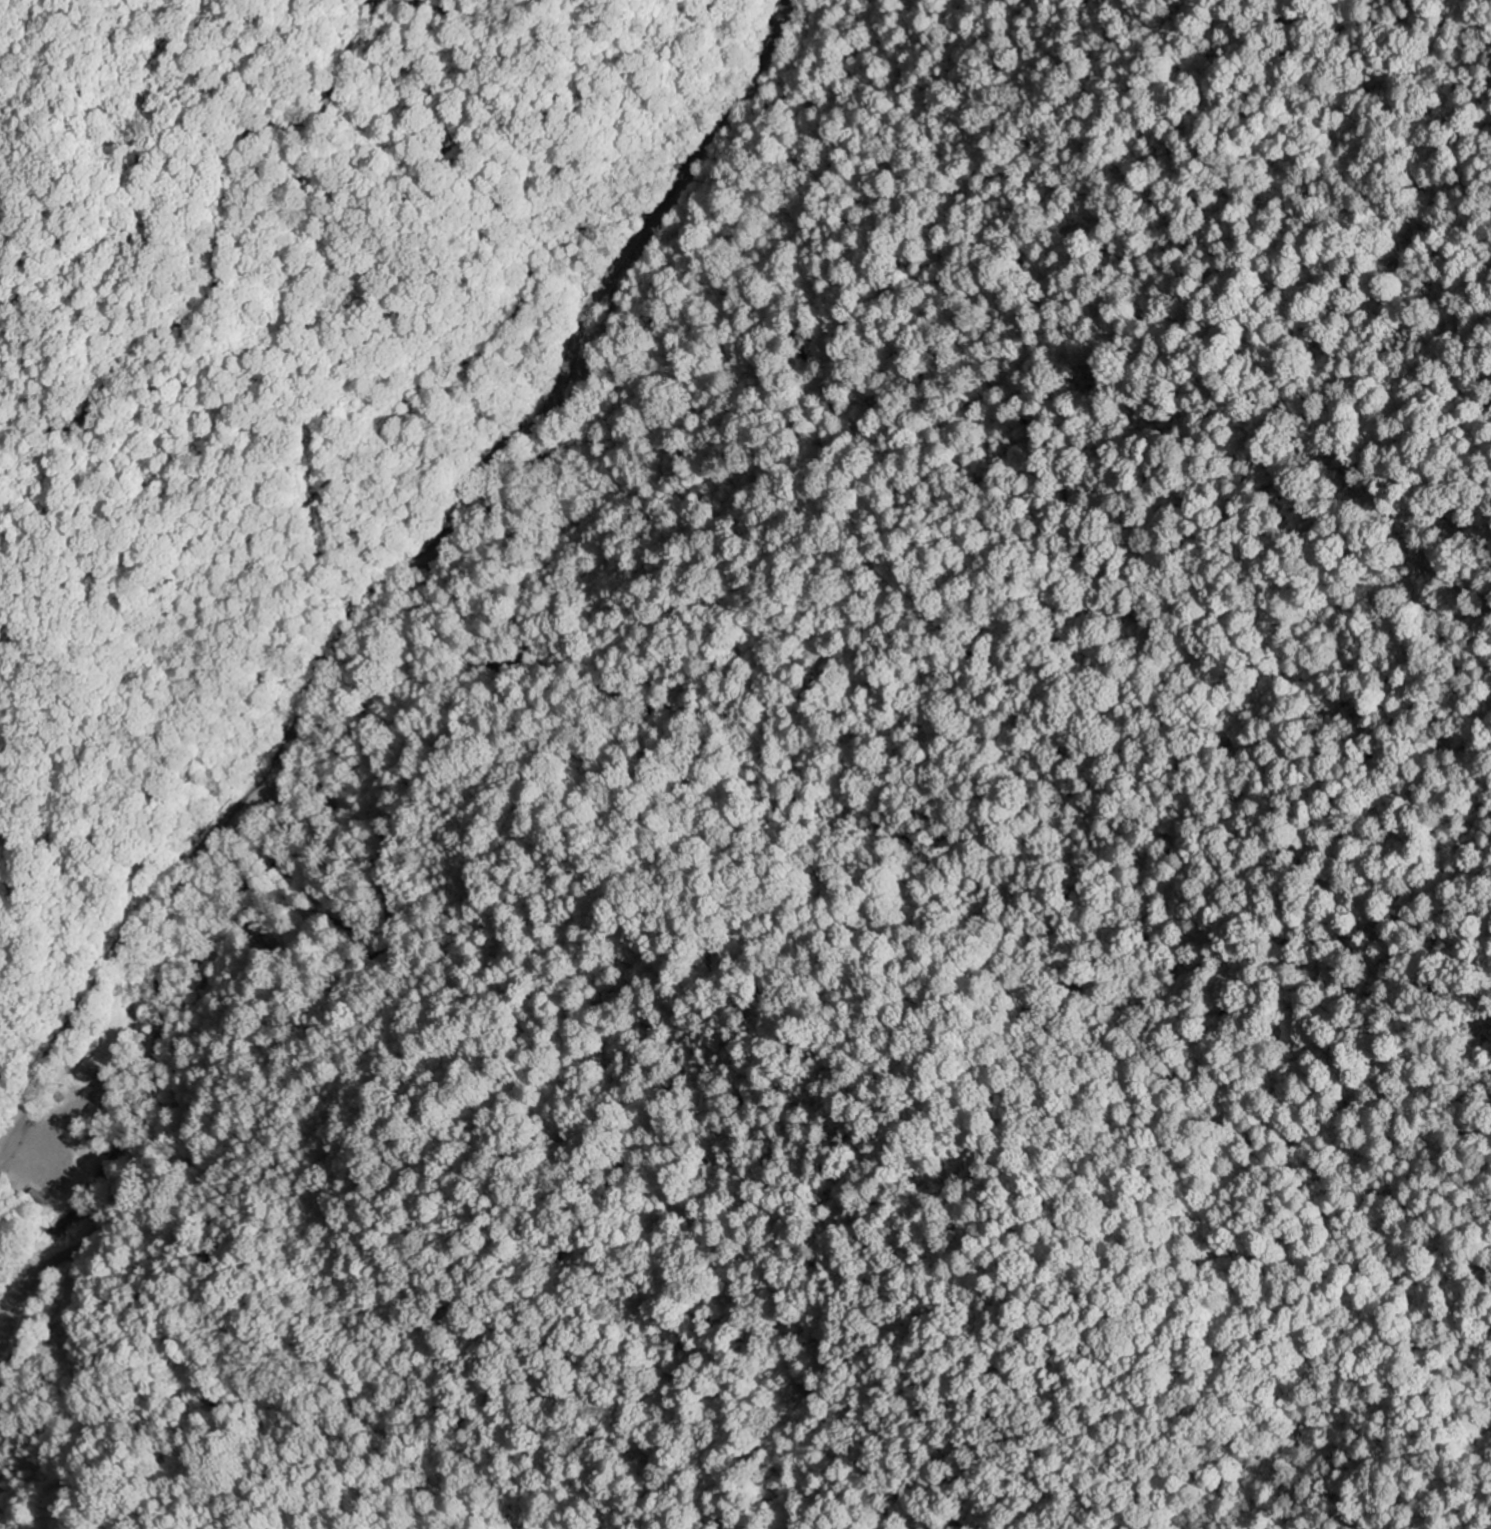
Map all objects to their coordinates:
building: (86, 1070)
road: (25, 1098)

